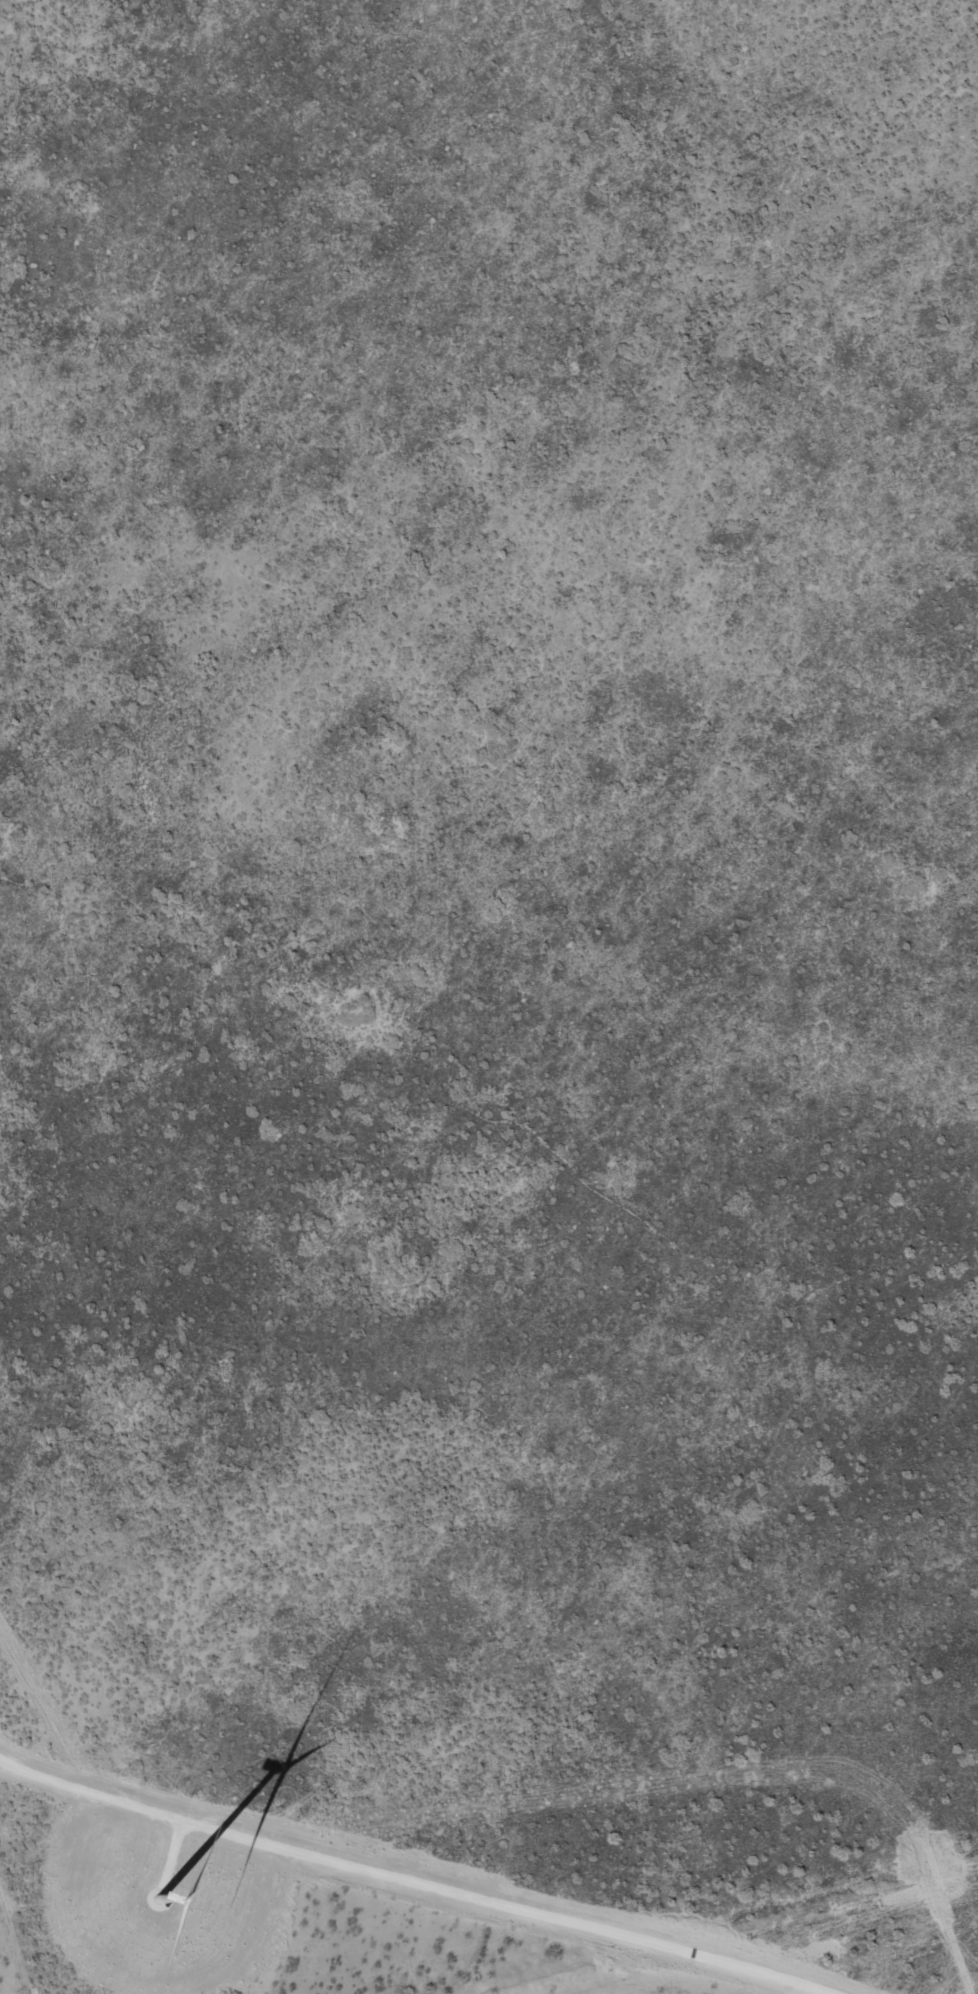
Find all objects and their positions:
wind turbine: (164, 1901)

